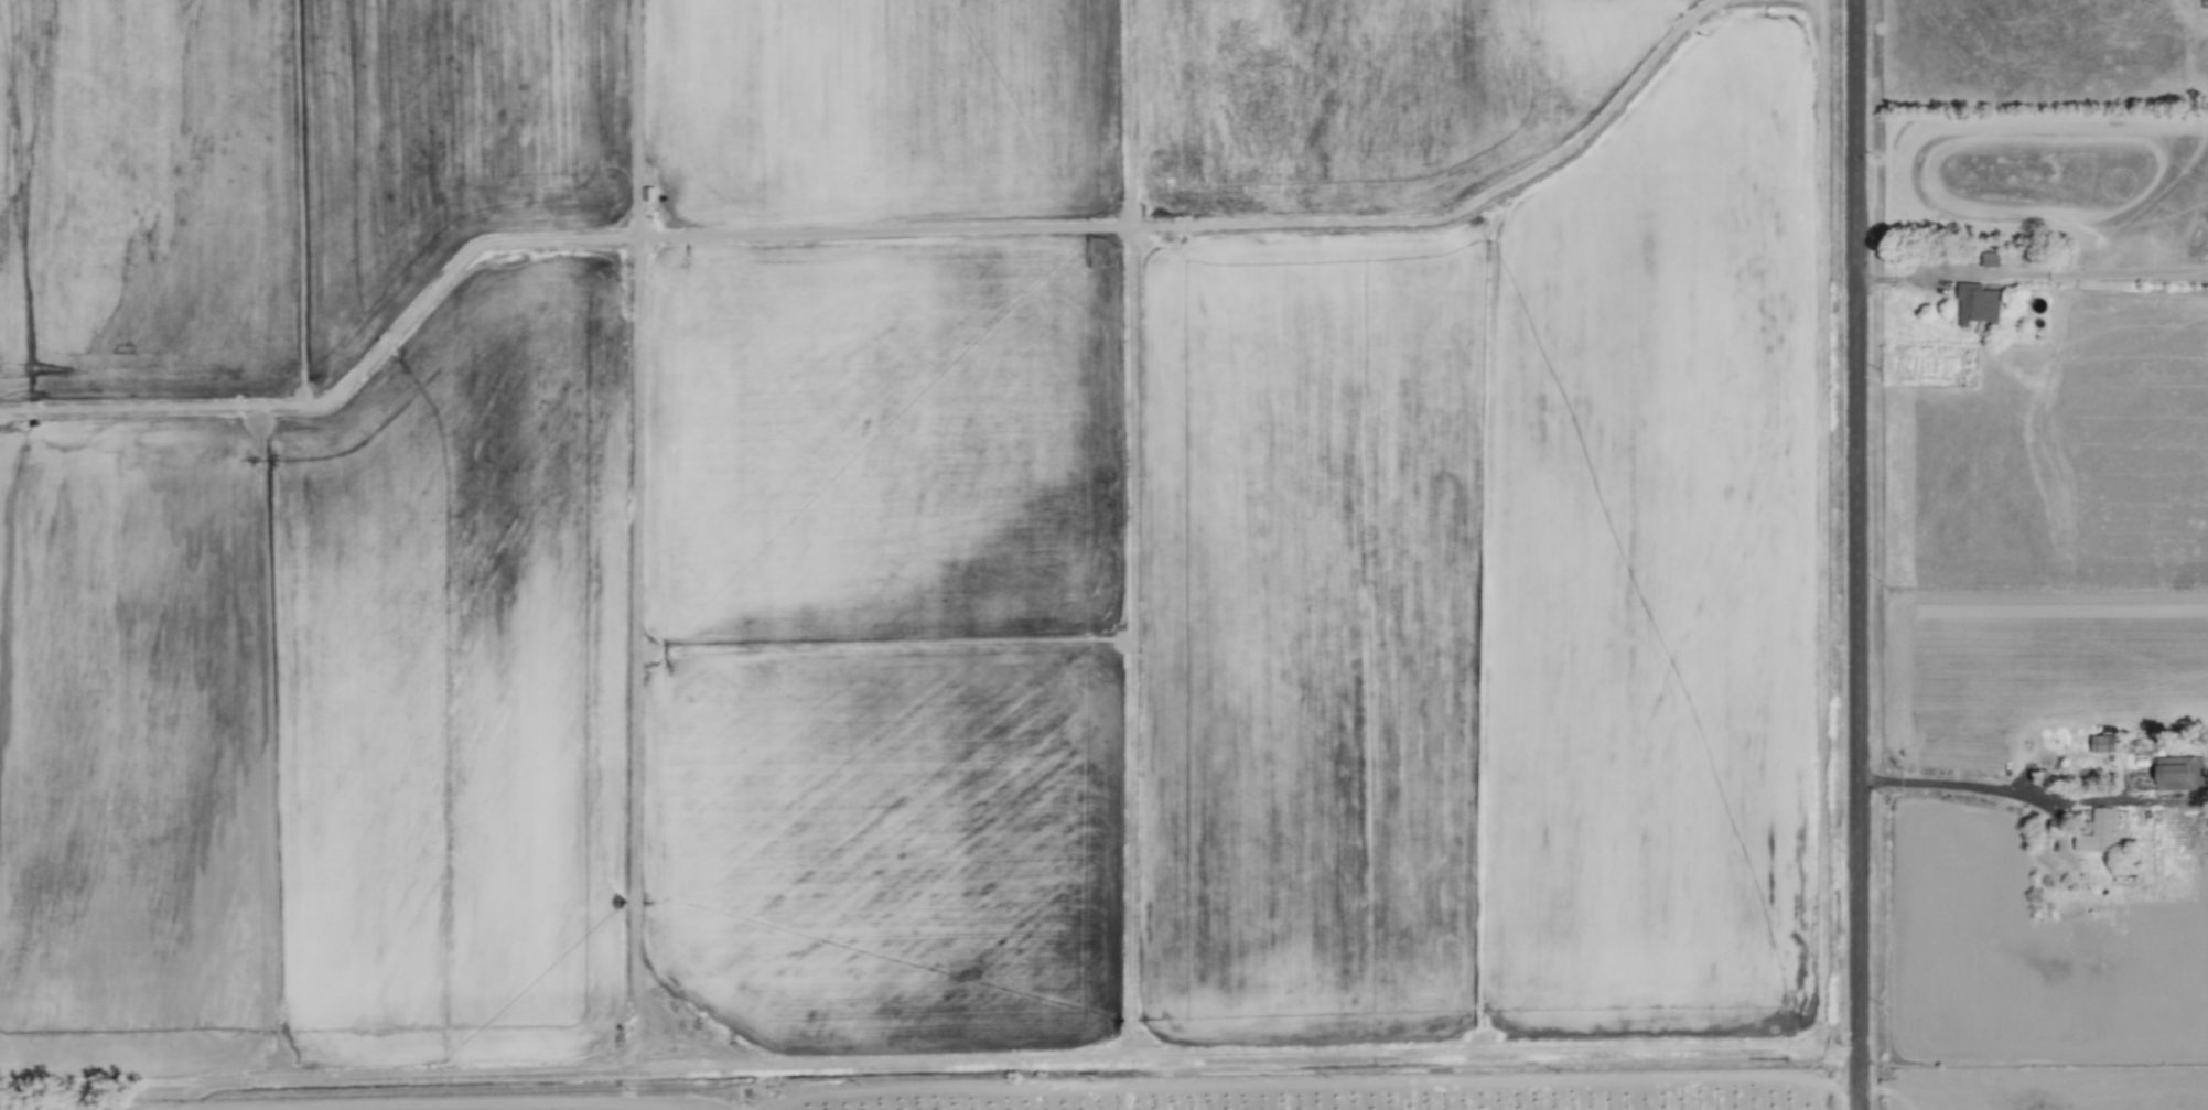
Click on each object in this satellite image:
road: (2035, 243)
building: (1973, 304)
road: (1862, 554)
building: (2177, 777)
road: (1964, 783)
building: (2094, 834)

